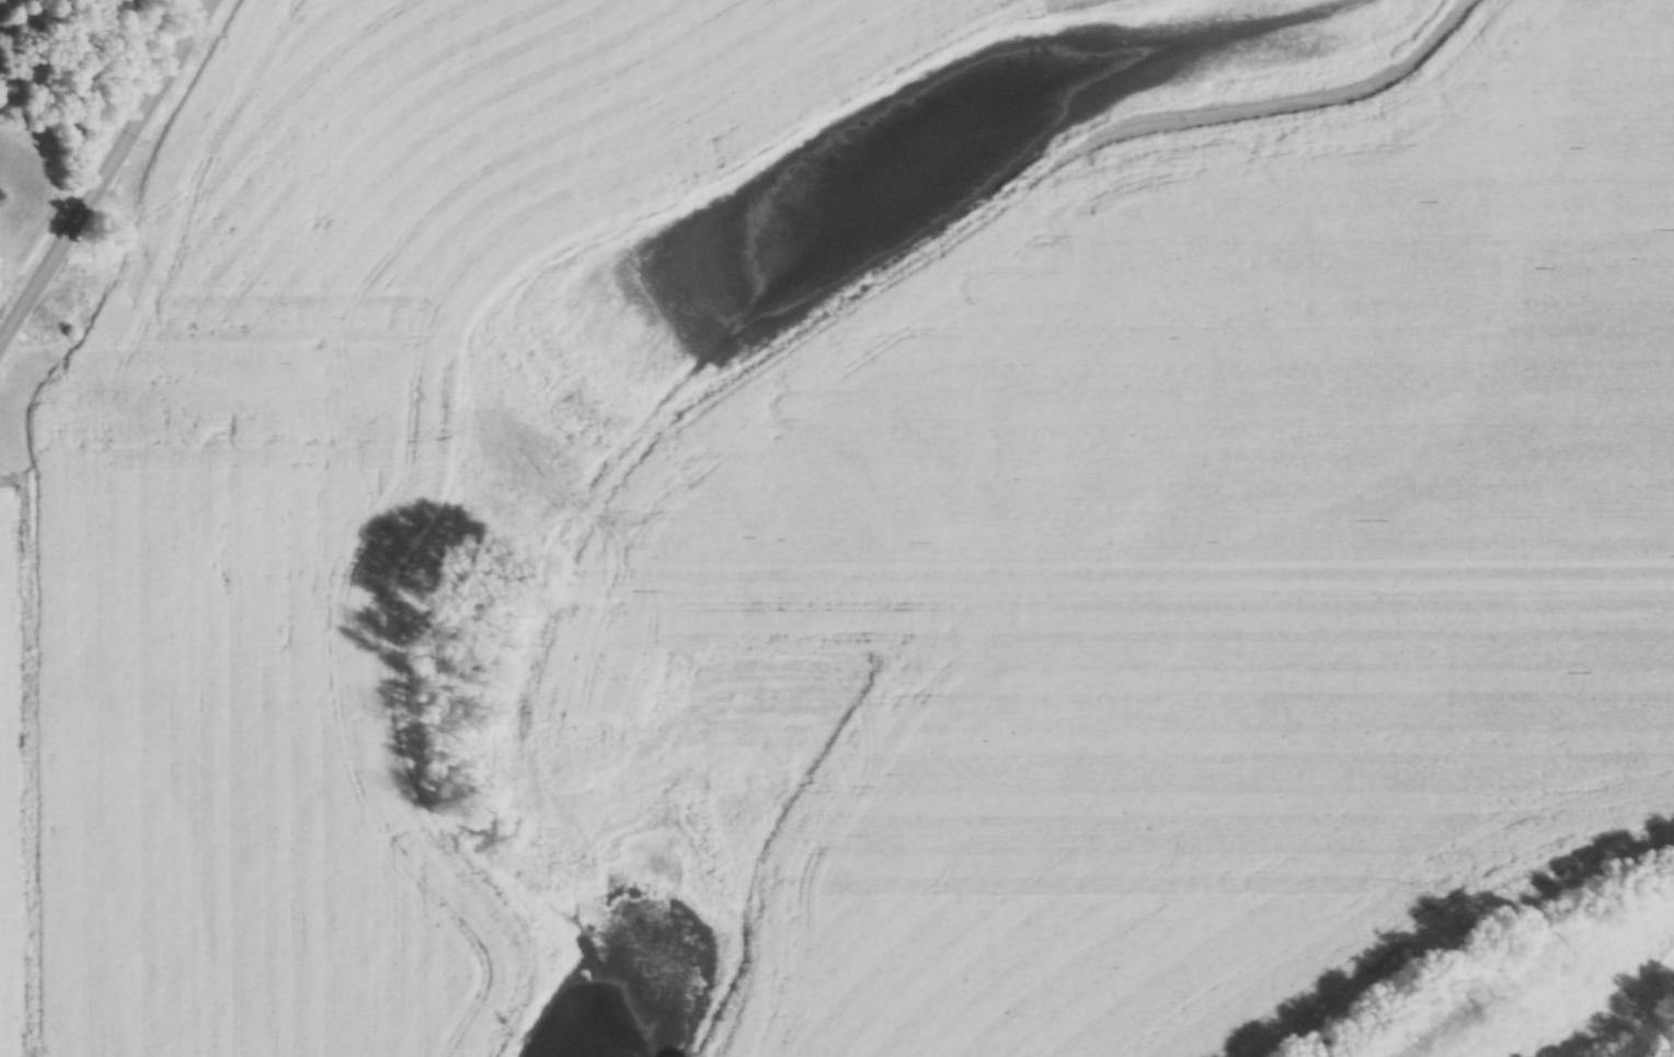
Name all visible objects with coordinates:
road: (106, 176)

